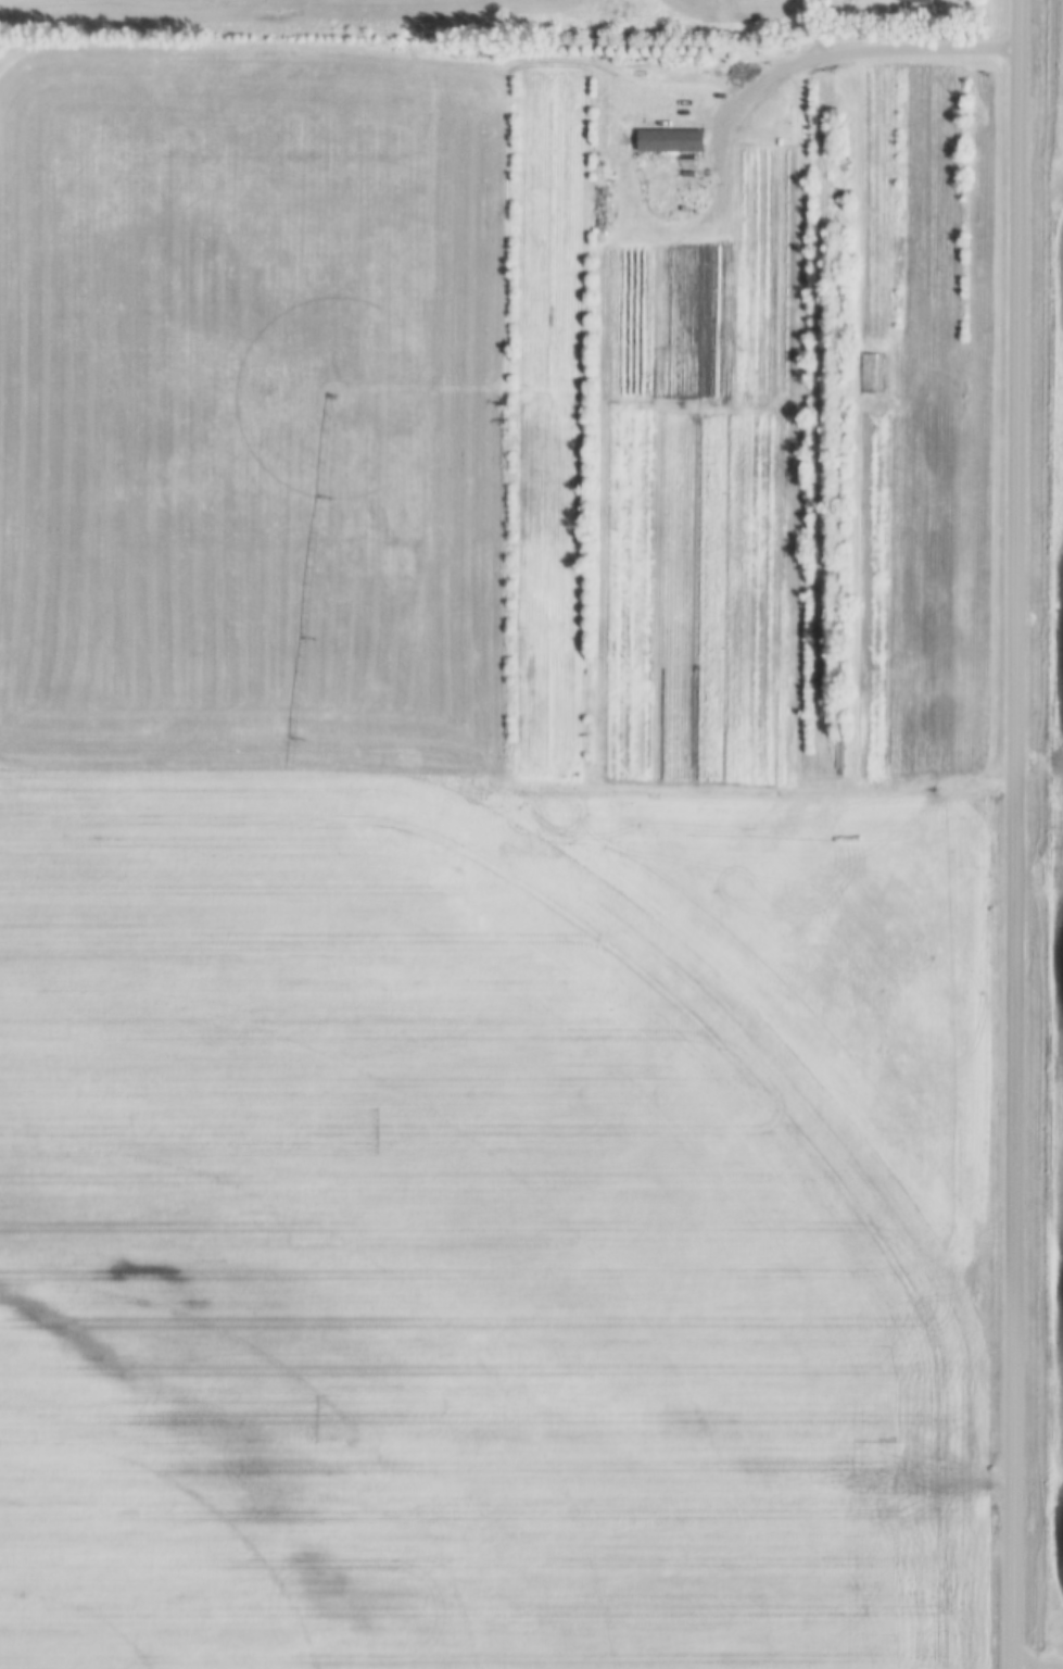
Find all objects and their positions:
building: (918, 2)
road: (846, 58)
building: (670, 142)
building: (869, 374)
road: (1020, 833)
road: (1039, 1666)

